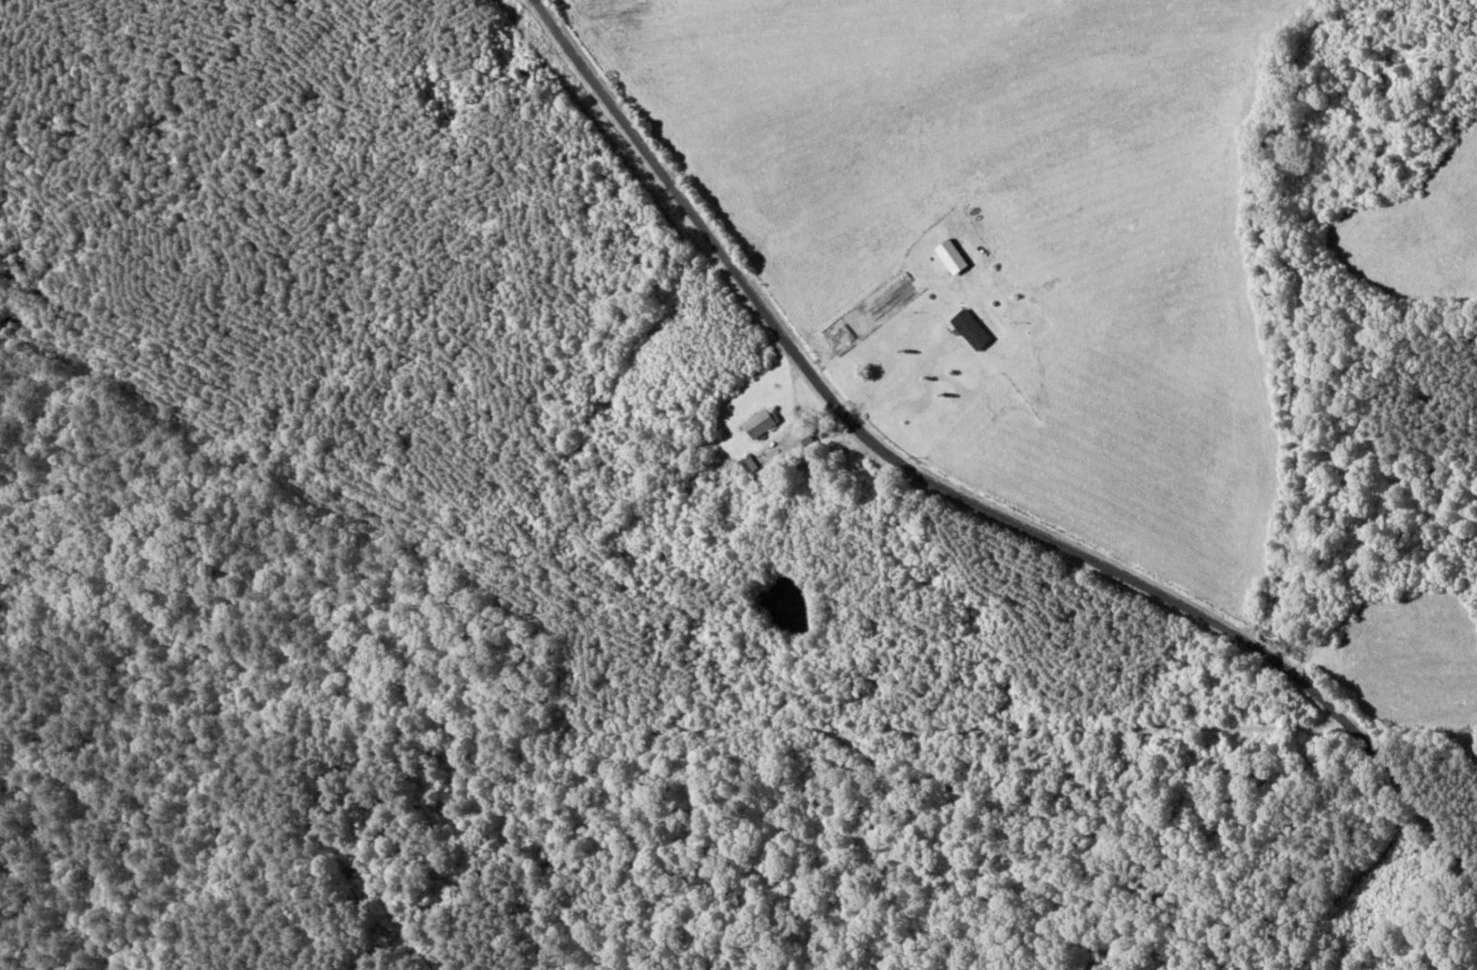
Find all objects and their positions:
building: (950, 256)
building: (968, 328)
building: (759, 422)
road: (869, 440)
building: (749, 465)
road: (670, 730)
road: (1412, 800)

